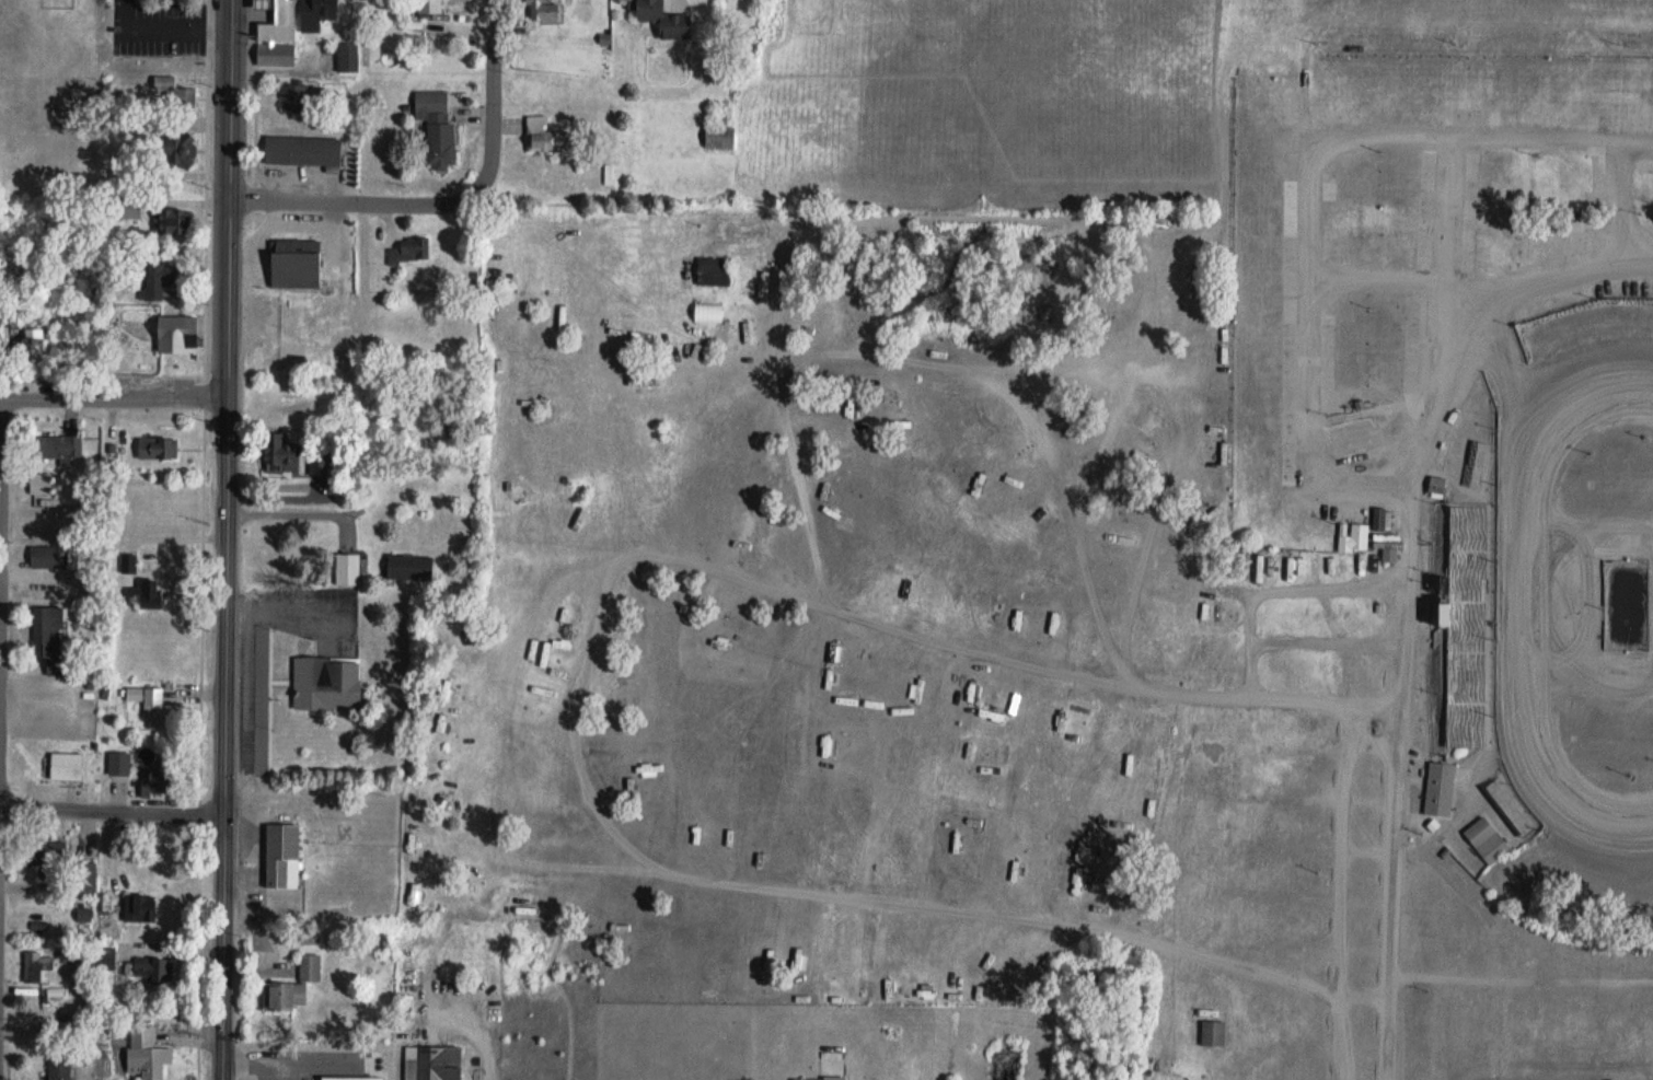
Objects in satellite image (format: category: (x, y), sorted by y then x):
building: (261, 3)
building: (429, 7)
building: (324, 9)
building: (541, 9)
building: (664, 19)
building: (279, 22)
building: (413, 44)
building: (275, 55)
building: (347, 57)
road: (489, 91)
building: (174, 92)
building: (293, 95)
building: (436, 127)
building: (543, 136)
building: (718, 137)
building: (178, 149)
building: (301, 151)
road: (357, 202)
building: (177, 221)
building: (408, 249)
building: (294, 263)
building: (713, 270)
building: (160, 271)
building: (707, 311)
building: (284, 320)
building: (176, 334)
building: (36, 344)
road: (112, 395)
building: (57, 445)
building: (150, 448)
building: (280, 454)
building: (41, 483)
building: (1435, 486)
road: (298, 513)
building: (1382, 518)
building: (1352, 536)
road: (223, 539)
building: (44, 555)
building: (409, 567)
building: (346, 568)
building: (147, 592)
raceway: (1511, 609)
building: (48, 632)
building: (1177, 657)
building: (1465, 673)
building: (326, 682)
building: (155, 709)
road: (1365, 736)
building: (118, 762)
building: (65, 764)
building: (1440, 789)
road: (113, 809)
building: (1486, 839)
building: (46, 851)
building: (282, 856)
building: (84, 876)
building: (139, 906)
building: (105, 956)
building: (36, 963)
building: (146, 967)
building: (292, 985)
building: (35, 1029)
building: (1212, 1032)
building: (142, 1054)
road: (264, 1060)
building: (432, 1062)
building: (58, 1067)
building: (819, 1078)

